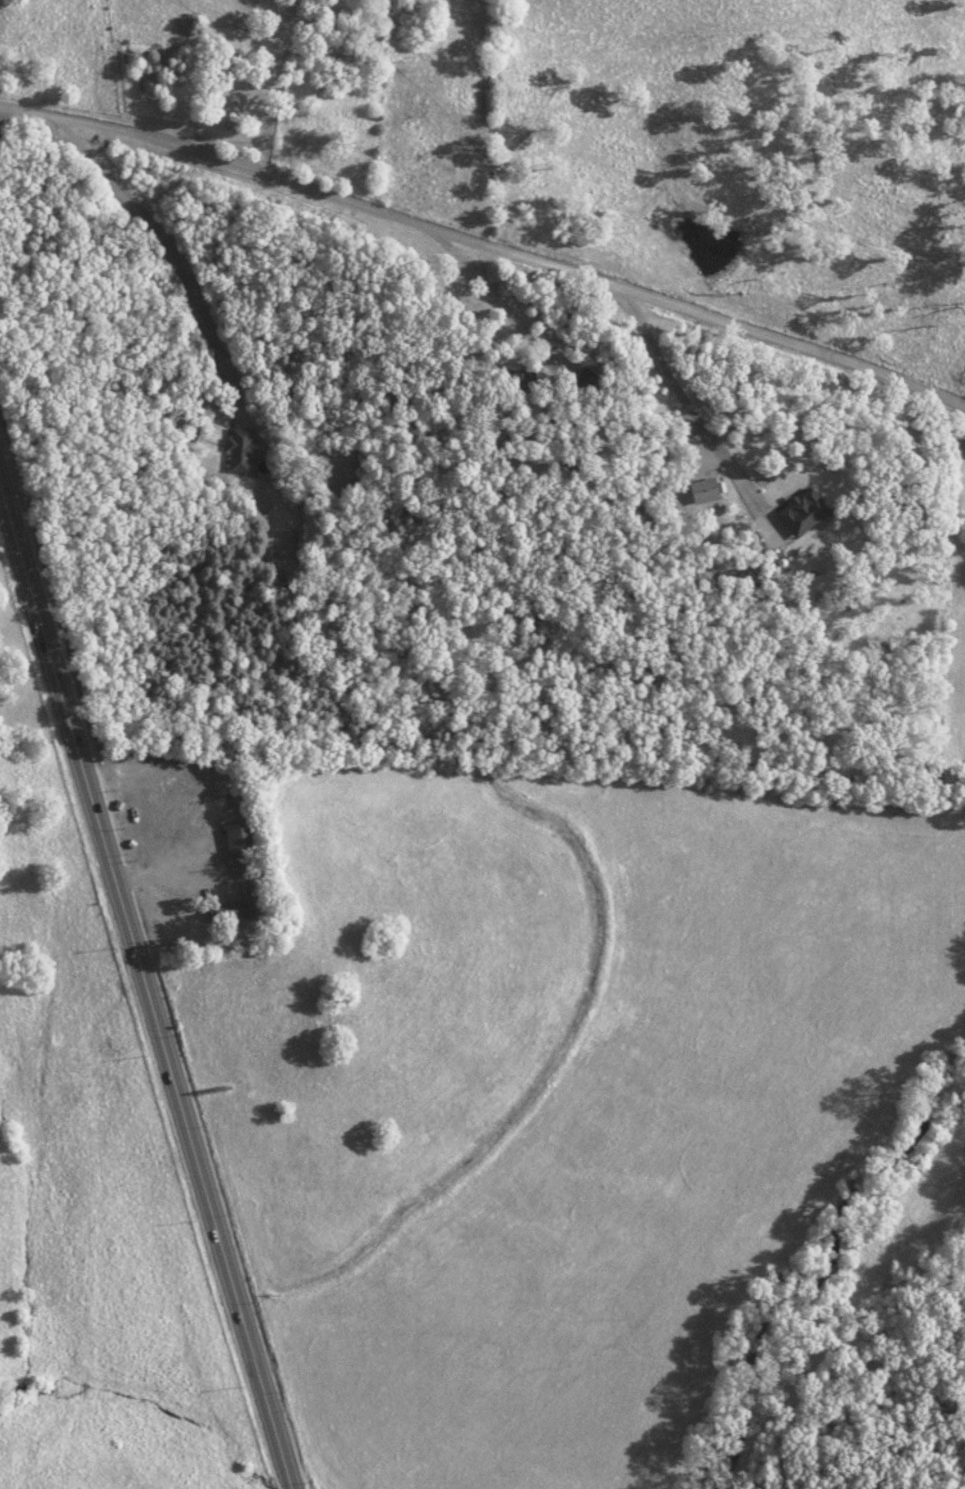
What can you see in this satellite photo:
building: (244, 95)
road: (487, 234)
building: (520, 377)
building: (579, 379)
building: (237, 448)
building: (700, 488)
building: (799, 510)
building: (273, 570)
building: (236, 842)
building: (247, 897)
building: (221, 910)
road: (144, 1011)
building: (211, 1087)

